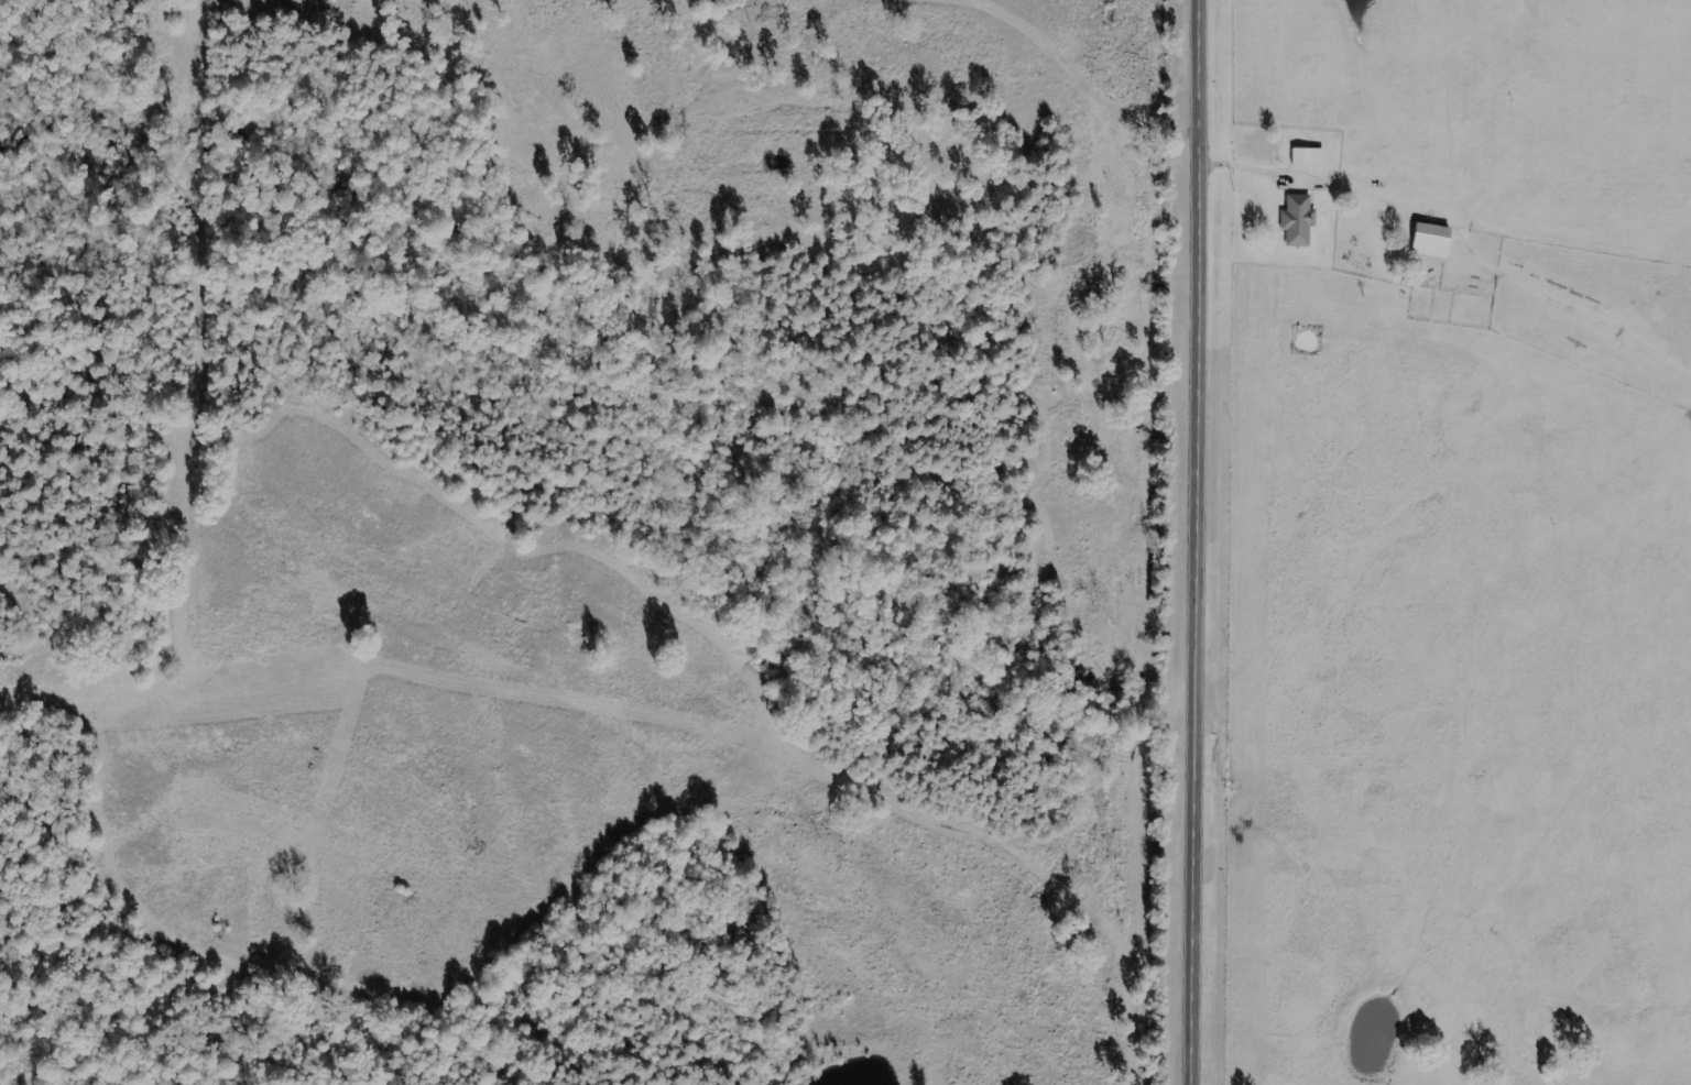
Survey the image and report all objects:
building: (1300, 218)
building: (1436, 238)
road: (1190, 542)

